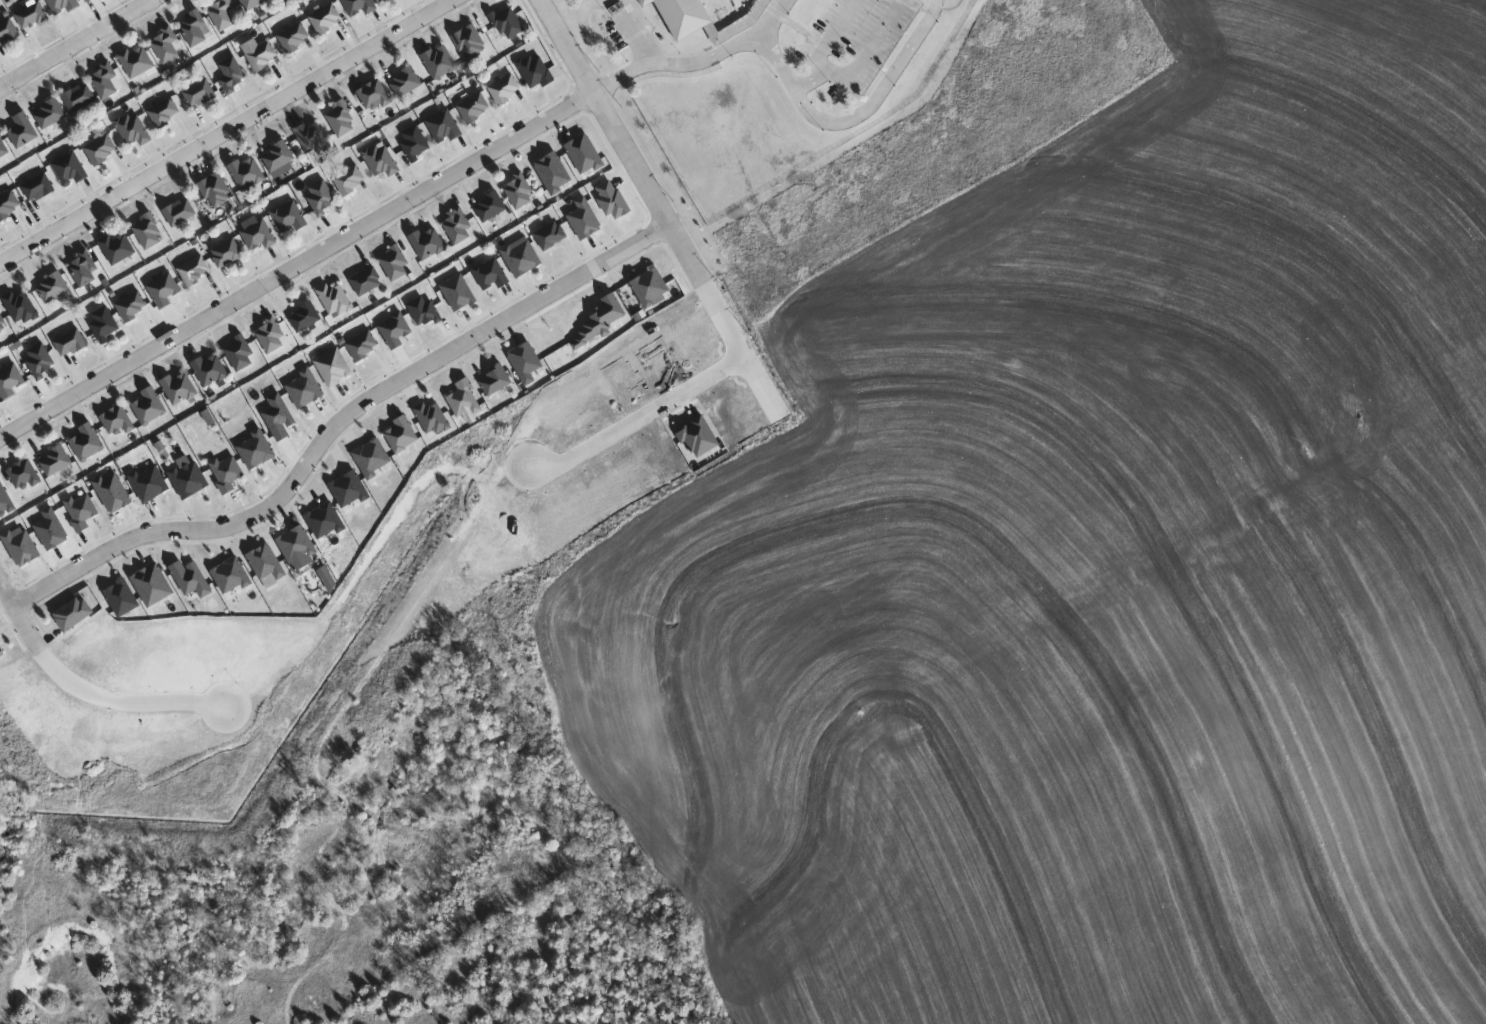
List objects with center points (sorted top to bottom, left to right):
building: (88, 0)
building: (387, 1)
building: (252, 4)
building: (62, 6)
building: (358, 7)
building: (223, 14)
building: (32, 16)
building: (685, 16)
building: (327, 20)
road: (772, 20)
building: (506, 24)
building: (195, 28)
building: (7, 31)
road: (832, 33)
building: (294, 37)
parking lot: (857, 41)
building: (470, 42)
road: (75, 43)
building: (167, 44)
road: (868, 47)
building: (262, 56)
road: (704, 59)
building: (136, 61)
building: (439, 61)
building: (535, 71)
building: (232, 75)
road: (811, 79)
building: (105, 81)
building: (405, 83)
building: (506, 90)
road: (878, 92)
building: (199, 94)
building: (374, 97)
building: (79, 98)
building: (475, 109)
building: (164, 112)
building: (50, 114)
building: (341, 119)
building: (443, 127)
building: (133, 130)
road: (226, 130)
building: (23, 131)
building: (312, 137)
road: (620, 140)
building: (414, 143)
building: (3, 148)
building: (101, 150)
building: (278, 156)
building: (382, 160)
building: (70, 170)
building: (247, 172)
building: (350, 180)
building: (38, 188)
building: (216, 191)
building: (520, 193)
building: (322, 197)
building: (9, 206)
building: (490, 207)
building: (179, 212)
building: (289, 217)
building: (458, 228)
building: (148, 232)
building: (257, 234)
building: (551, 236)
building: (428, 243)
building: (118, 248)
building: (227, 254)
building: (395, 264)
road: (297, 265)
building: (84, 269)
building: (195, 271)
building: (491, 275)
building: (367, 281)
building: (53, 288)
building: (164, 290)
building: (335, 299)
building: (20, 307)
building: (133, 307)
building: (424, 311)
building: (305, 317)
building: (105, 324)
building: (3, 325)
building: (395, 330)
building: (271, 337)
building: (71, 344)
building: (363, 346)
road: (743, 346)
building: (240, 354)
building: (40, 361)
building: (333, 367)
building: (211, 370)
building: (495, 380)
building: (12, 381)
building: (180, 388)
building: (150, 407)
building: (433, 418)
road: (642, 419)
building: (118, 421)
road: (338, 423)
building: (402, 435)
building: (88, 442)
building: (57, 461)
building: (24, 476)
building: (5, 501)
road: (20, 612)
road: (130, 700)

